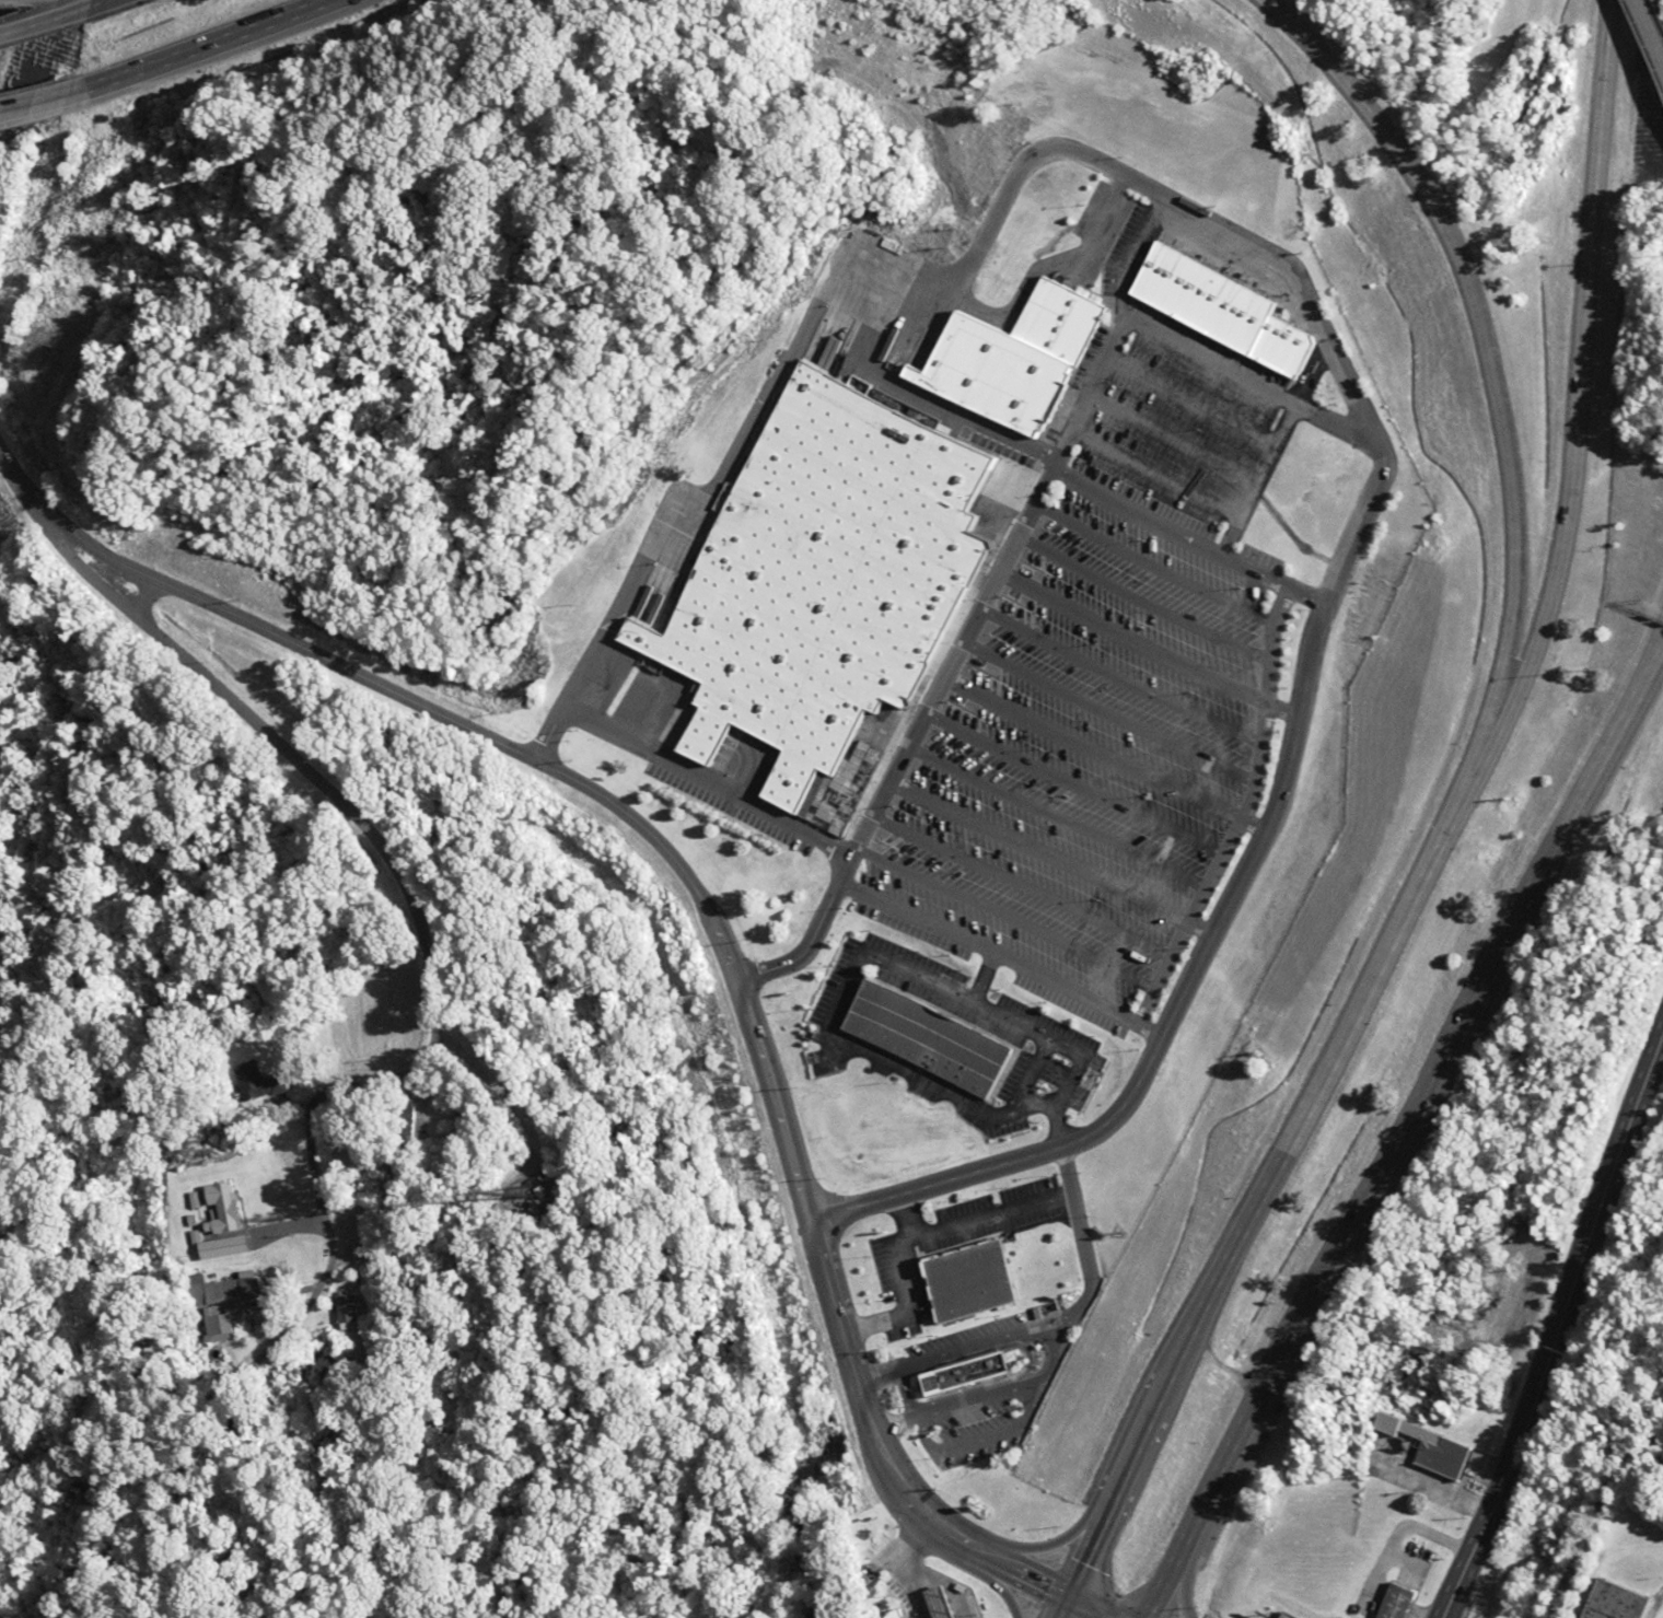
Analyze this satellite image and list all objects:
road: (105, 5)
road: (46, 26)
road: (1648, 36)
road: (205, 44)
road: (47, 103)
building: (1216, 296)
power tower: (60, 337)
building: (1007, 346)
road: (1501, 393)
road: (1190, 394)
road: (1171, 432)
road: (1574, 438)
road: (1154, 467)
road: (1254, 477)
road: (1164, 524)
road: (1013, 540)
road: (1149, 560)
building: (815, 566)
road: (1138, 596)
road: (1307, 633)
road: (1127, 636)
road: (1651, 653)
road: (1651, 663)
road: (1116, 677)
parking lot: (1096, 689)
road: (1104, 708)
road: (1270, 710)
road: (1090, 744)
road: (1072, 780)
road: (1232, 807)
road: (1055, 815)
road: (368, 816)
road: (1244, 823)
road: (1038, 847)
road: (1022, 881)
road: (698, 882)
road: (1004, 916)
road: (1194, 923)
road: (988, 951)
building: (929, 1039)
road: (1317, 1082)
road: (1391, 1151)
building: (231, 1207)
building: (232, 1246)
building: (978, 1280)
building: (225, 1292)
building: (351, 1311)
road: (1558, 1339)
building: (976, 1374)
building: (1411, 1445)
road: (1137, 1456)
building: (1387, 1602)
building: (1609, 1602)
road: (1063, 1608)
road: (1085, 1608)
building: (1275, 1615)

